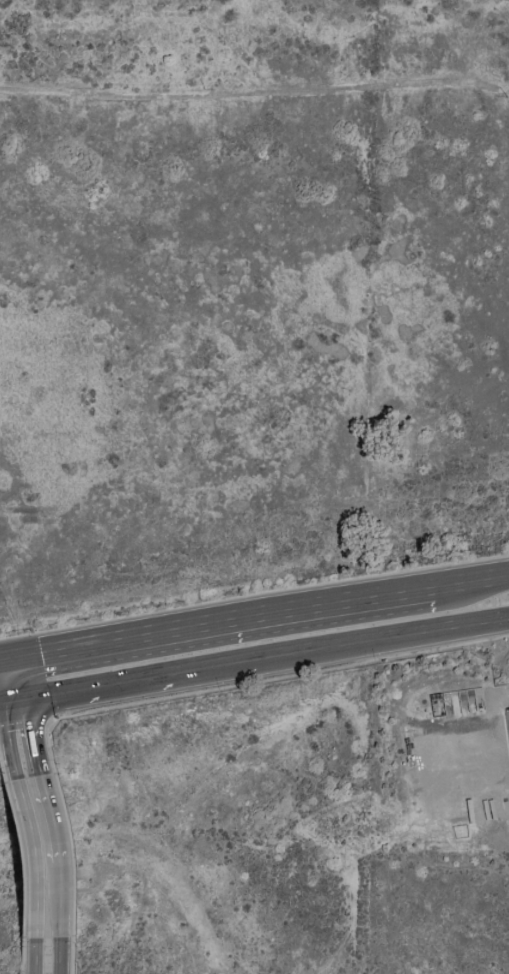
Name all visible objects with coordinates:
road: (469, 584)
road: (254, 595)
road: (221, 624)
road: (383, 642)
traffic signals: (11, 657)
road: (5, 658)
road: (165, 680)
road: (14, 681)
road: (45, 701)
traffic signals: (18, 706)
road: (9, 707)
road: (35, 737)
road: (11, 740)
road: (48, 819)
park: (320, 831)
road: (29, 857)
road: (55, 901)
road: (35, 956)
road: (58, 956)

